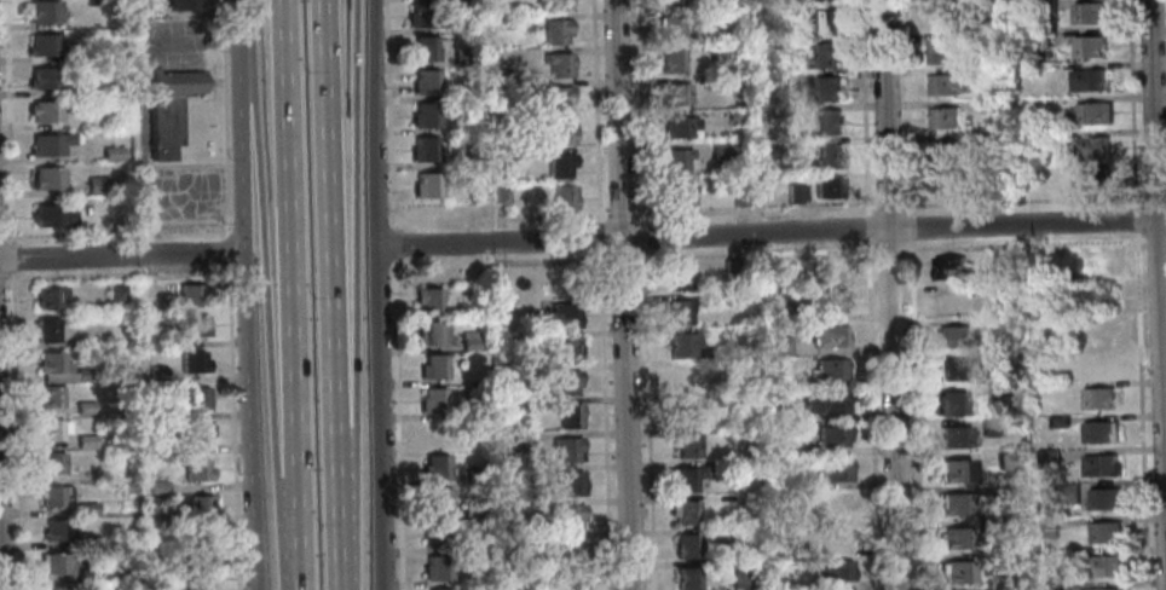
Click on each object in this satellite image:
building: (822, 0)
building: (669, 1)
building: (91, 2)
building: (178, 5)
building: (556, 5)
building: (1045, 6)
building: (44, 12)
building: (781, 12)
building: (1087, 12)
building: (939, 16)
building: (419, 17)
building: (825, 21)
building: (519, 22)
building: (670, 25)
building: (554, 31)
road: (189, 35)
building: (981, 37)
building: (1038, 37)
parking lot: (169, 41)
road: (241, 44)
building: (48, 45)
building: (783, 46)
building: (1086, 46)
building: (939, 48)
building: (421, 50)
building: (718, 52)
building: (461, 56)
building: (824, 56)
building: (671, 59)
building: (559, 63)
building: (983, 74)
building: (45, 79)
building: (784, 80)
building: (1085, 80)
building: (175, 82)
building: (423, 82)
building: (946, 82)
building: (732, 83)
building: (827, 87)
building: (674, 93)
building: (556, 98)
road: (1131, 102)
road: (139, 105)
building: (986, 105)
road: (866, 106)
road: (908, 106)
building: (46, 111)
road: (598, 111)
road: (641, 111)
road: (389, 112)
building: (1090, 114)
building: (423, 116)
building: (943, 116)
road: (225, 117)
building: (735, 117)
road: (10, 122)
road: (375, 122)
building: (827, 122)
building: (163, 125)
building: (676, 127)
building: (559, 131)
building: (1060, 135)
building: (987, 140)
building: (50, 144)
building: (1091, 146)
building: (423, 150)
building: (945, 150)
building: (721, 151)
building: (112, 154)
building: (829, 156)
building: (675, 160)
building: (560, 164)
building: (50, 178)
building: (1095, 178)
building: (948, 180)
building: (1006, 181)
building: (98, 186)
building: (426, 186)
building: (827, 187)
building: (792, 193)
building: (801, 193)
building: (677, 195)
building: (500, 196)
road: (1154, 196)
parking lot: (181, 197)
building: (738, 197)
building: (562, 198)
road: (1024, 199)
road: (889, 204)
road: (755, 209)
road: (623, 213)
building: (54, 214)
road: (144, 215)
road: (1133, 215)
road: (555, 216)
road: (501, 224)
road: (866, 226)
road: (910, 226)
road: (770, 230)
road: (116, 232)
road: (642, 235)
road: (600, 236)
road: (1, 237)
road: (1155, 239)
road: (393, 242)
road: (1022, 242)
road: (230, 249)
road: (889, 250)
road: (291, 251)
road: (755, 253)
road: (122, 256)
road: (13, 258)
road: (623, 258)
road: (549, 261)
building: (1093, 262)
building: (780, 267)
building: (949, 268)
building: (733, 271)
building: (830, 272)
road: (2, 279)
road: (13, 279)
building: (679, 279)
building: (1040, 289)
road: (1158, 289)
building: (999, 291)
building: (116, 293)
building: (191, 294)
road: (890, 294)
road: (329, 295)
road: (356, 295)
road: (622, 295)
building: (51, 296)
road: (267, 296)
building: (1096, 297)
building: (427, 300)
building: (829, 302)
building: (951, 303)
building: (680, 312)
building: (781, 313)
building: (565, 314)
building: (196, 325)
building: (496, 325)
road: (16, 326)
building: (48, 330)
building: (1097, 331)
building: (431, 334)
building: (830, 336)
building: (952, 337)
road: (247, 339)
building: (83, 341)
building: (469, 341)
building: (529, 341)
building: (779, 346)
building: (686, 347)
building: (568, 349)
building: (989, 359)
building: (194, 361)
building: (54, 363)
building: (433, 368)
building: (829, 370)
building: (954, 370)
building: (85, 375)
building: (158, 375)
building: (685, 378)
building: (566, 382)
building: (999, 389)
building: (51, 395)
building: (197, 399)
building: (1098, 399)
building: (433, 401)
building: (824, 401)
building: (952, 404)
building: (520, 406)
building: (86, 407)
road: (1139, 409)
building: (683, 411)
building: (172, 413)
building: (570, 415)
road: (872, 415)
road: (916, 415)
building: (783, 416)
road: (380, 417)
road: (647, 418)
road: (605, 420)
building: (1057, 421)
road: (398, 423)
road: (235, 427)
building: (991, 428)
building: (52, 429)
building: (1099, 433)
building: (198, 434)
building: (831, 436)
building: (956, 438)
building: (432, 440)
building: (86, 441)
building: (509, 442)
building: (686, 445)
building: (566, 449)
building: (172, 450)
building: (1047, 459)
building: (1008, 461)
building: (53, 462)
building: (1099, 465)
building: (743, 467)
building: (435, 468)
building: (197, 470)
building: (954, 470)
building: (835, 472)
building: (478, 476)
building: (685, 478)
building: (571, 482)
building: (790, 485)
building: (157, 488)
building: (1006, 492)
building: (1067, 493)
building: (56, 494)
building: (1106, 498)
building: (437, 502)
building: (836, 504)
building: (957, 504)
building: (201, 505)
building: (87, 509)
building: (473, 513)
building: (683, 513)
building: (781, 513)
building: (570, 516)
building: (158, 521)
building: (1047, 524)
building: (57, 531)
building: (1106, 532)
building: (1046, 533)
building: (437, 536)
building: (739, 537)
building: (836, 539)
building: (957, 539)
building: (513, 543)
building: (202, 544)
building: (686, 546)
road: (299, 548)
building: (570, 550)
building: (1052, 559)
building: (57, 562)
building: (1104, 567)
building: (435, 568)
building: (832, 572)
building: (959, 572)
building: (537, 573)
road: (0, 574)
building: (740, 577)
building: (201, 579)
building: (687, 579)
building: (575, 582)
building: (1015, 586)
building: (1047, 586)
building: (57, 589)
building: (1107, 589)

